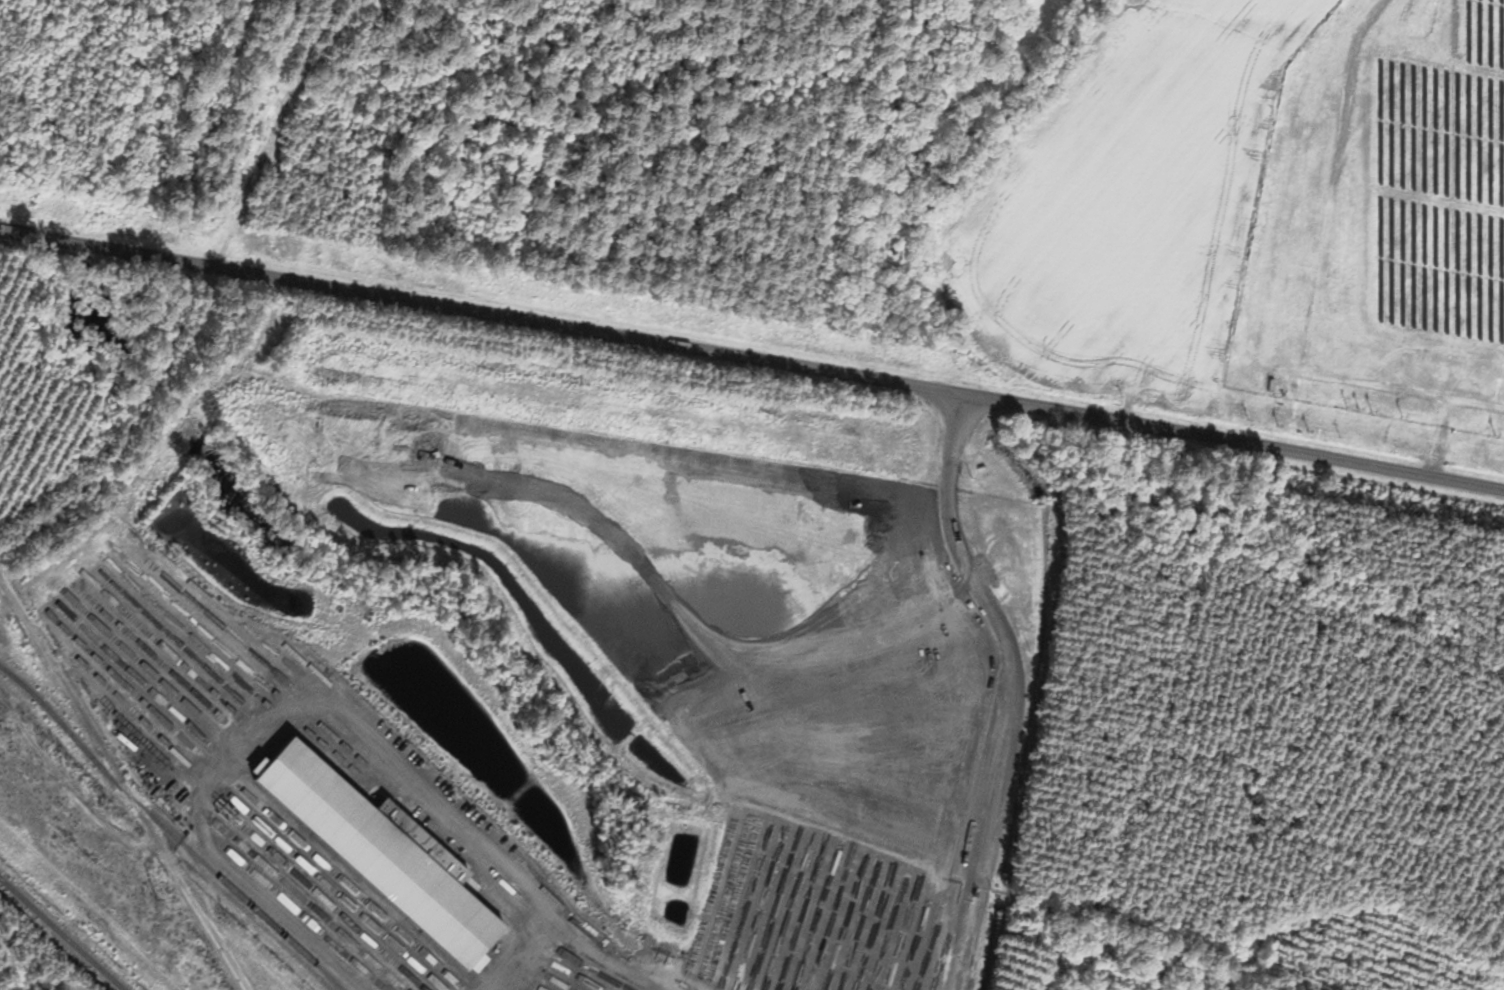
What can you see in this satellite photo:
road: (752, 366)
road: (1011, 691)
road: (124, 784)
building: (375, 859)
railway: (62, 933)
road: (612, 961)

